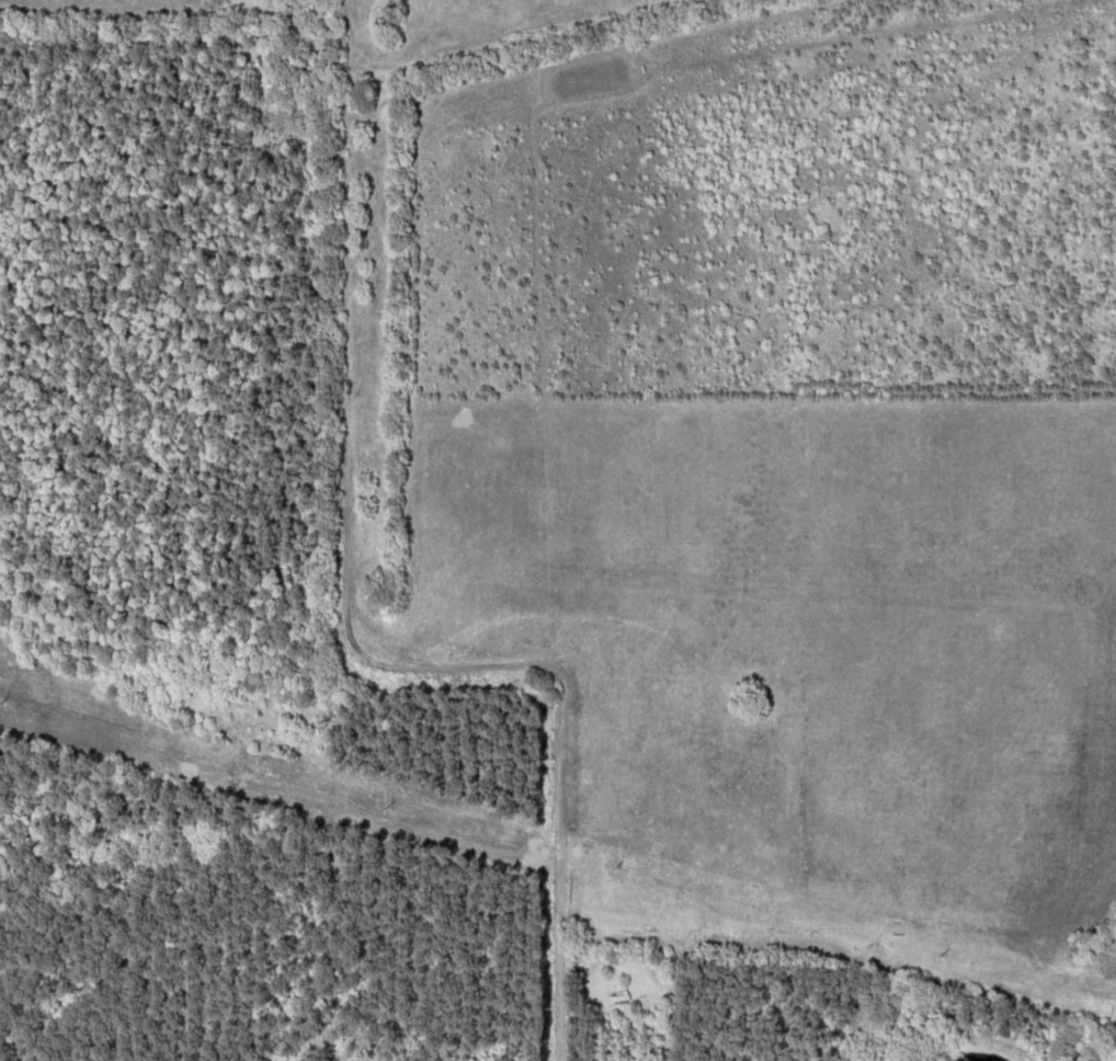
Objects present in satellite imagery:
road: (343, 625)

